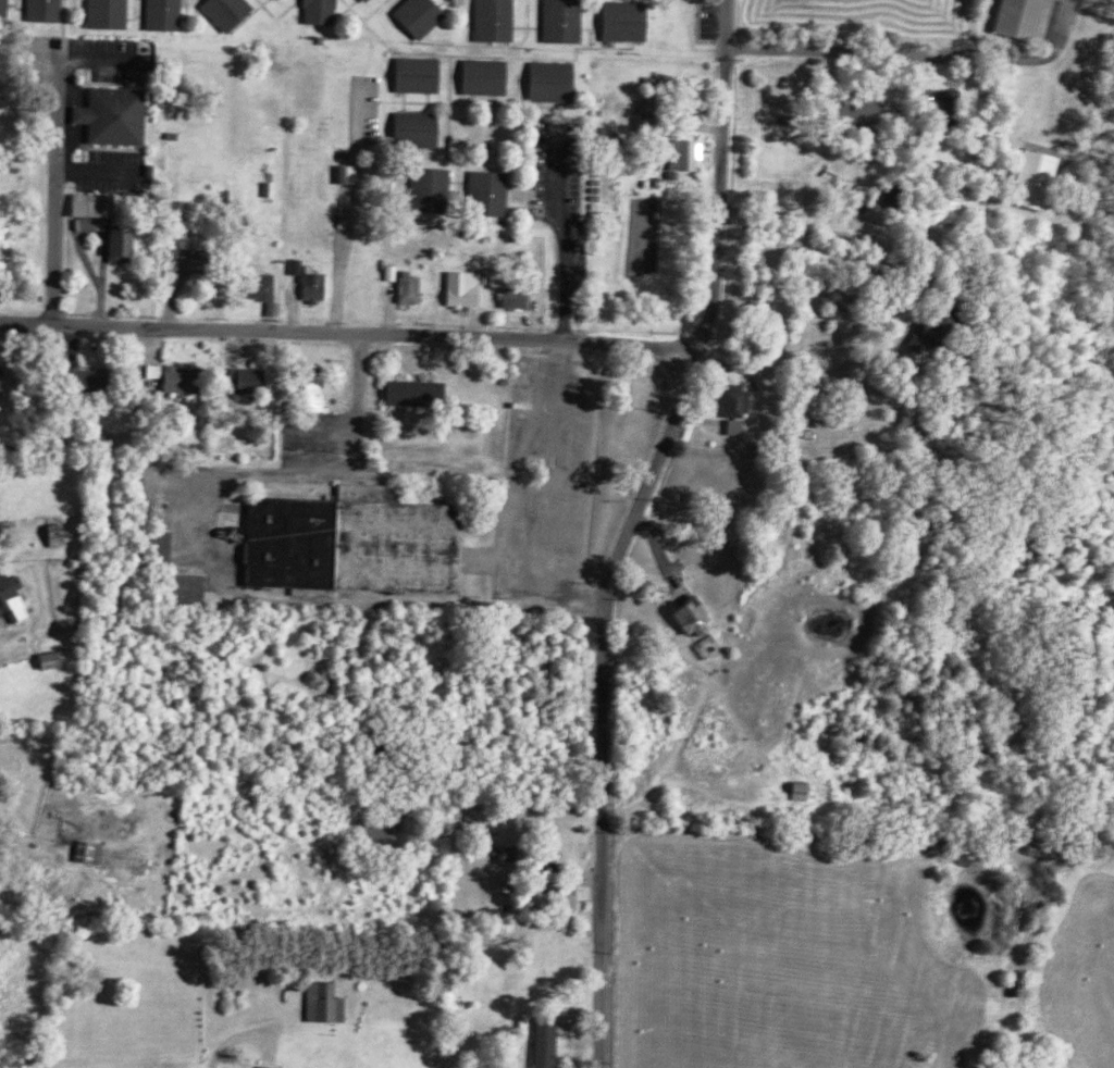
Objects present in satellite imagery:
building: (375, 0)
building: (0, 5)
building: (38, 9)
building: (221, 10)
building: (312, 10)
building: (101, 12)
building: (158, 13)
building: (414, 13)
building: (488, 18)
building: (556, 18)
building: (619, 18)
building: (1031, 18)
road: (862, 49)
building: (411, 72)
building: (479, 75)
building: (545, 77)
building: (657, 105)
building: (108, 114)
building: (874, 115)
building: (644, 116)
building: (657, 125)
building: (410, 126)
building: (678, 150)
building: (692, 153)
building: (641, 159)
building: (342, 169)
building: (356, 172)
building: (1037, 177)
building: (421, 186)
building: (443, 186)
building: (481, 190)
building: (86, 202)
building: (115, 245)
building: (132, 245)
building: (182, 254)
building: (398, 272)
building: (252, 284)
building: (308, 284)
building: (404, 287)
building: (458, 287)
building: (417, 289)
building: (509, 296)
building: (274, 297)
road: (348, 333)
building: (166, 374)
building: (238, 377)
building: (79, 380)
building: (260, 380)
building: (5, 381)
building: (305, 387)
building: (408, 390)
building: (745, 408)
building: (5, 525)
road: (628, 529)
building: (50, 530)
building: (63, 530)
building: (346, 541)
building: (152, 546)
building: (198, 587)
building: (180, 591)
building: (9, 596)
building: (703, 618)
building: (47, 658)
building: (60, 659)
building: (193, 686)
building: (806, 790)
building: (97, 850)
building: (569, 898)
building: (331, 1002)
building: (553, 1041)
building: (275, 1067)

